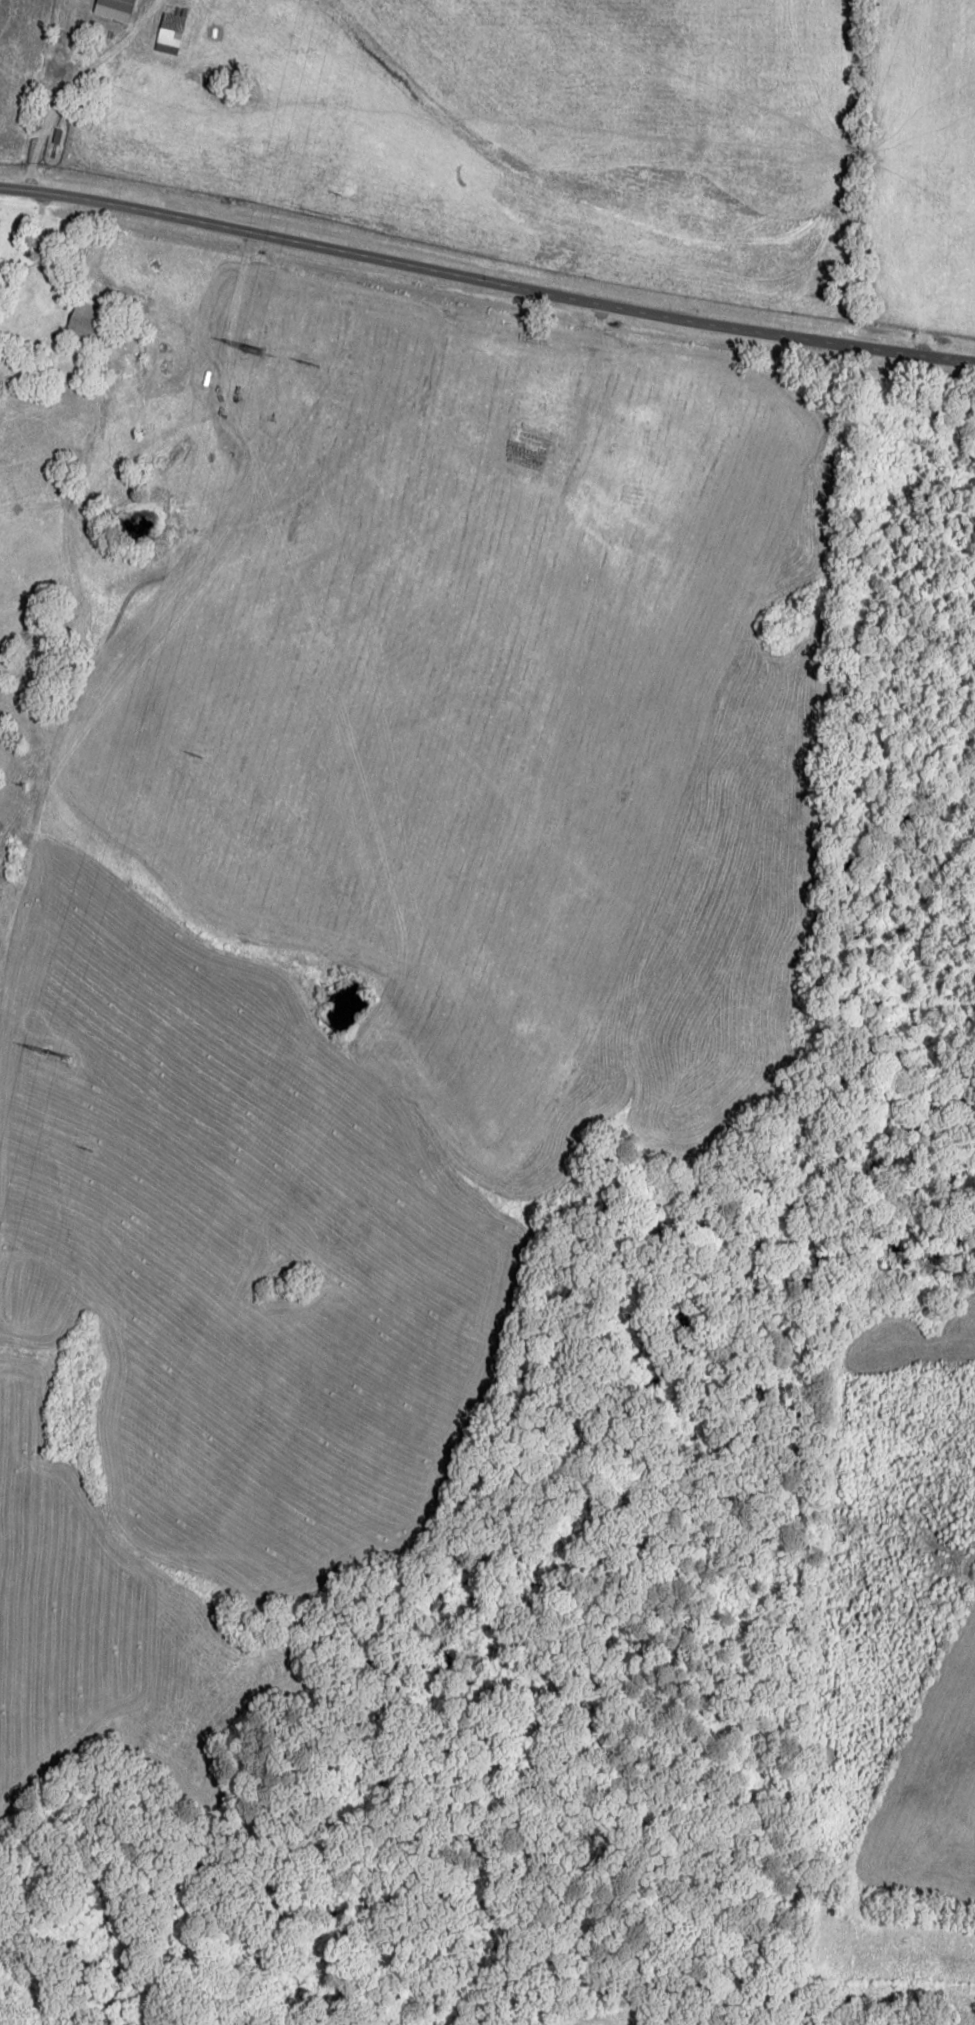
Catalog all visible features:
building: (114, 9)
building: (170, 33)
road: (486, 281)
building: (84, 320)
power tower: (231, 349)
power tower: (37, 1059)

